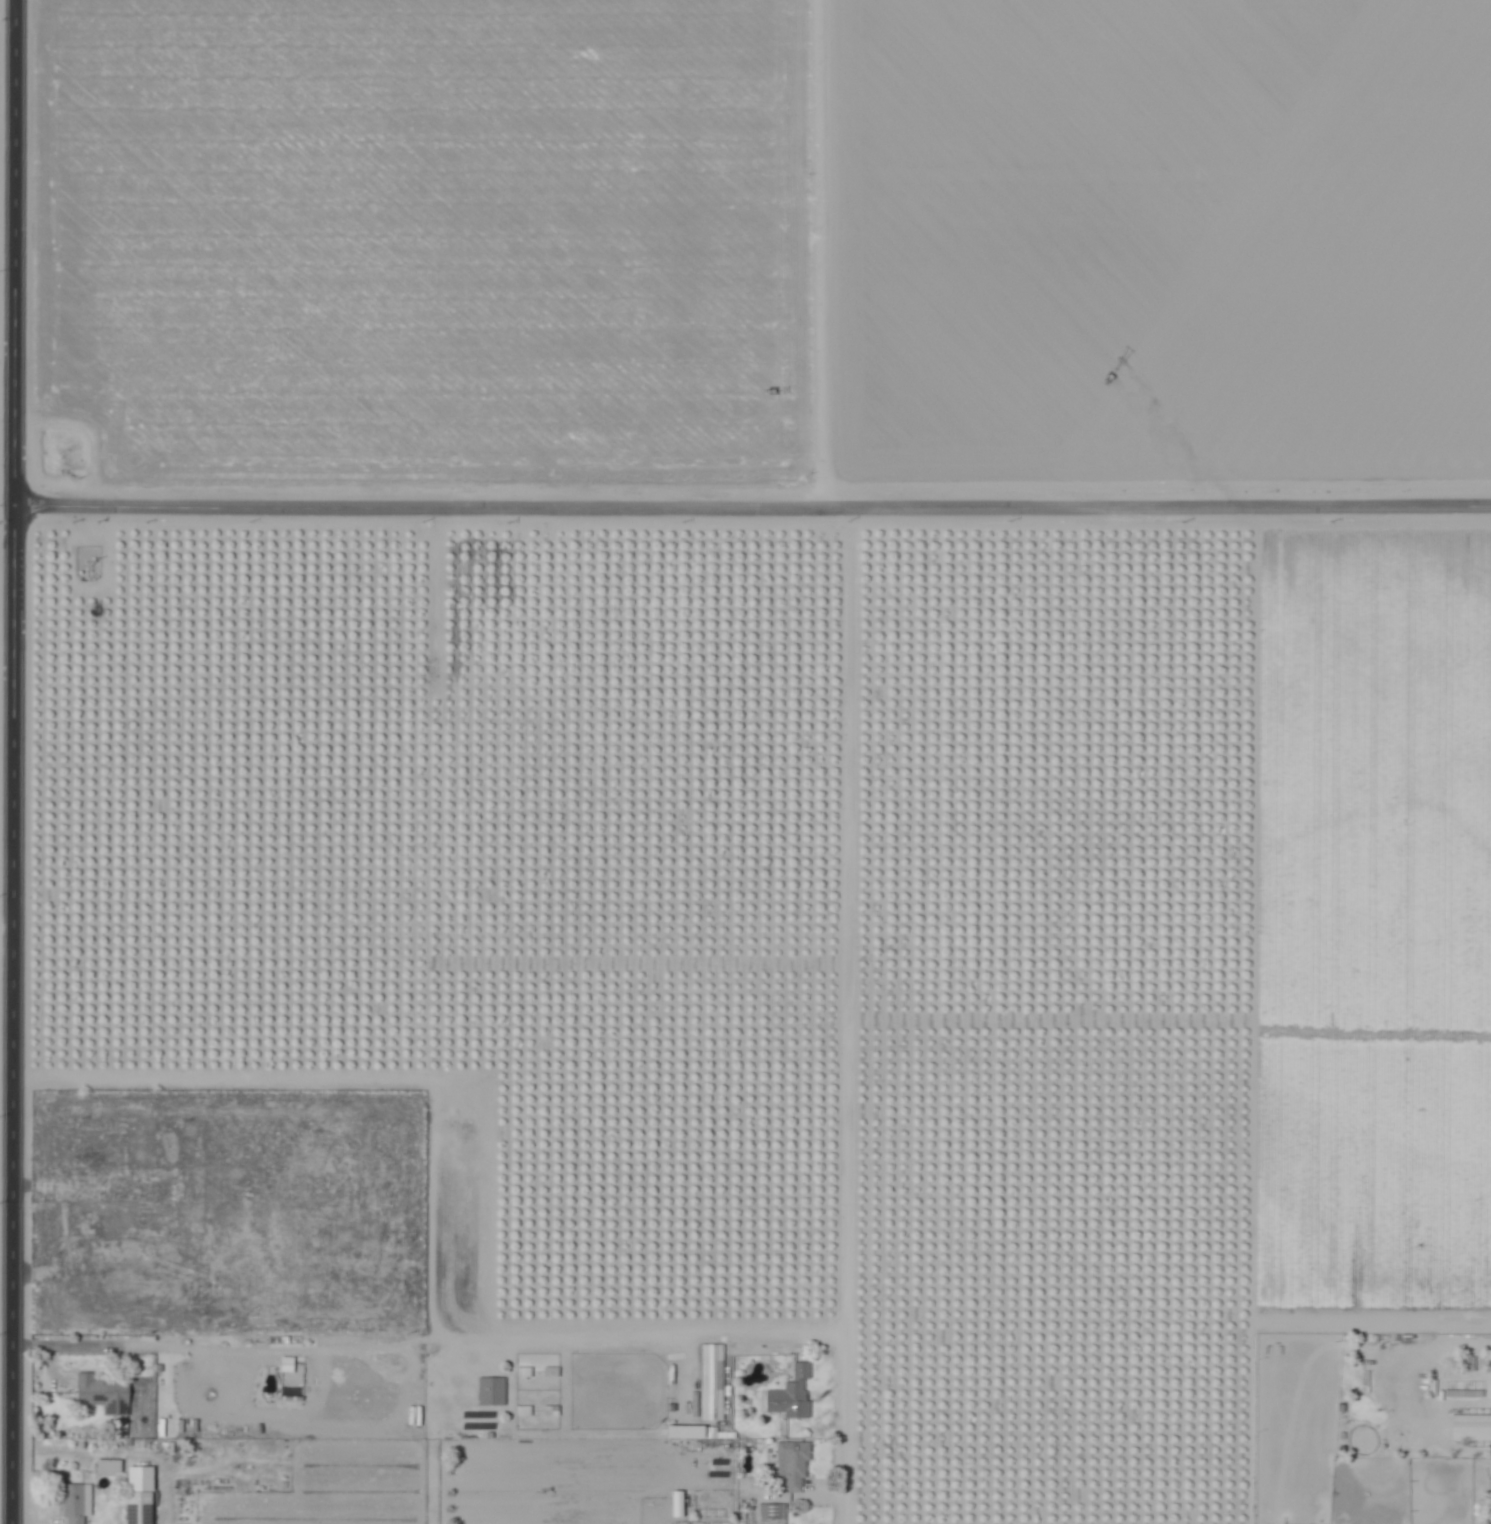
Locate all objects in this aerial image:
crop: (747, 244)
road: (753, 505)
road: (15, 761)
road: (7, 915)
crop: (825, 935)
building: (106, 1160)
building: (177, 1175)
building: (162, 1207)
building: (118, 1219)
road: (1403, 1360)
building: (285, 1364)
building: (522, 1371)
building: (549, 1371)
building: (1490, 1378)
building: (710, 1381)
building: (489, 1390)
building: (800, 1391)
building: (103, 1393)
building: (521, 1410)
building: (549, 1410)
building: (721, 1425)
building: (1470, 1427)
road: (845, 1430)
building: (683, 1431)
building: (129, 1443)
building: (168, 1446)
building: (724, 1461)
building: (794, 1464)
building: (109, 1465)
building: (77, 1502)
building: (676, 1503)
building: (139, 1507)
building: (1488, 1507)
building: (773, 1511)
building: (709, 1513)
building: (747, 1517)

